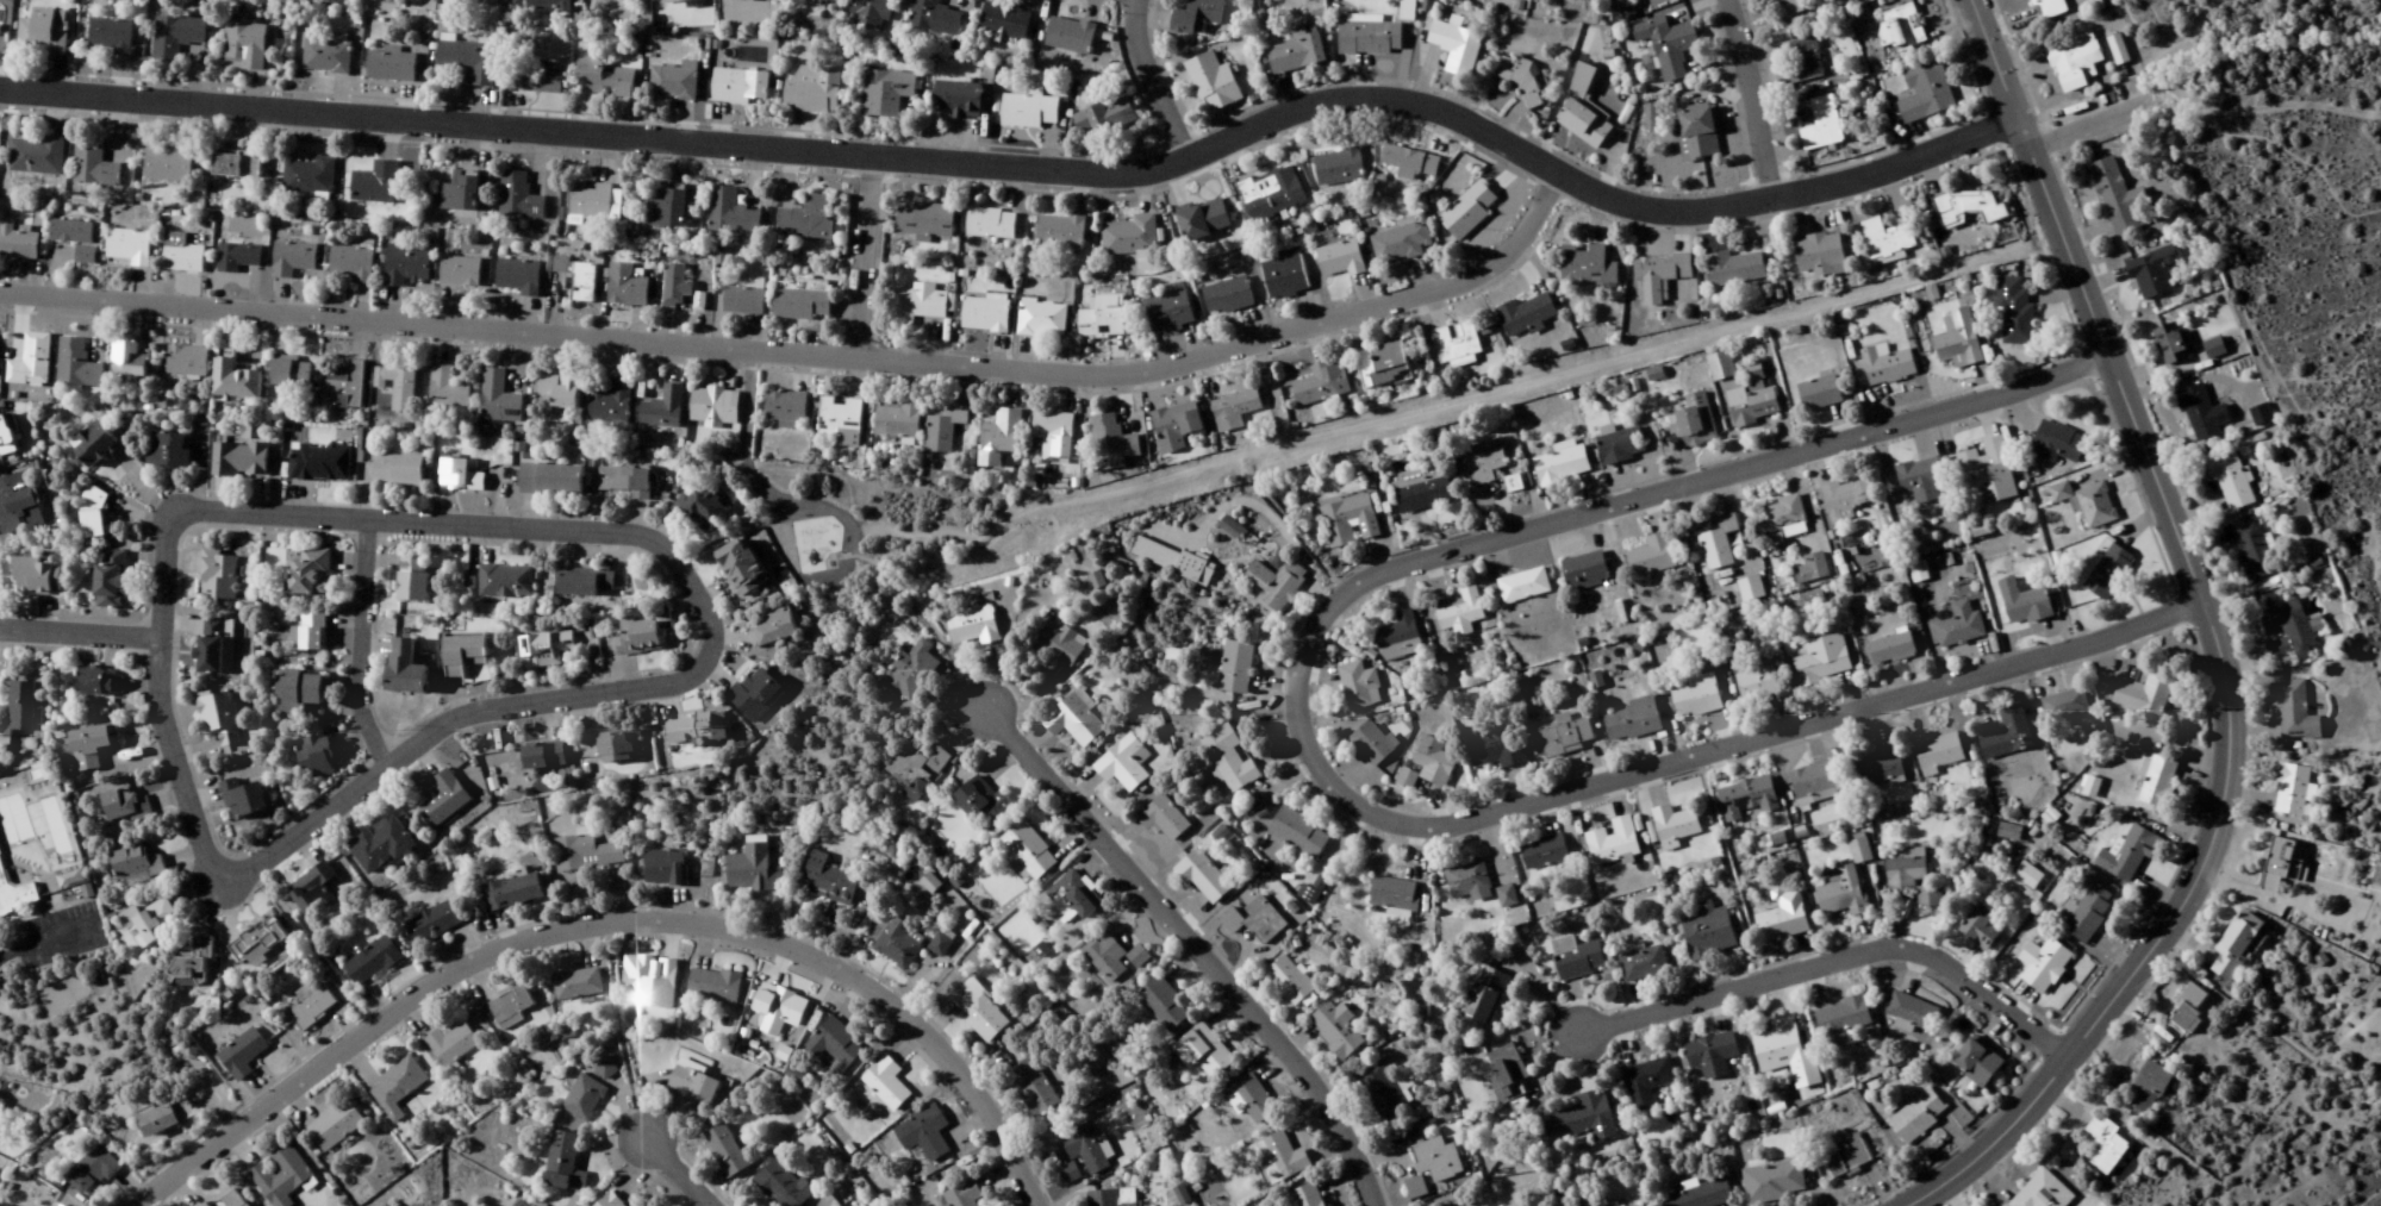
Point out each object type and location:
building: (677, 0)
building: (1632, 0)
building: (615, 1)
road: (1128, 1)
building: (547, 5)
building: (1789, 8)
building: (2049, 8)
building: (869, 14)
building: (1197, 17)
building: (934, 18)
building: (1004, 23)
building: (1900, 29)
building: (43, 32)
building: (112, 36)
building: (176, 37)
building: (1070, 37)
building: (1370, 39)
building: (245, 45)
building: (1668, 46)
building: (1457, 48)
building: (1297, 52)
building: (326, 57)
road: (1992, 60)
building: (468, 61)
building: (1802, 61)
building: (2075, 62)
building: (391, 65)
building: (603, 77)
building: (1520, 77)
road: (1151, 79)
building: (534, 81)
building: (675, 82)
building: (1213, 82)
building: (740, 87)
building: (814, 90)
building: (886, 93)
building: (1926, 93)
road: (1747, 96)
building: (956, 100)
road: (2264, 111)
building: (1029, 112)
building: (1584, 113)
road: (2087, 115)
building: (1103, 118)
building: (1822, 126)
building: (1700, 136)
building: (37, 156)
building: (1410, 162)
building: (93, 164)
building: (168, 164)
road: (1030, 164)
building: (236, 165)
building: (1338, 168)
building: (310, 176)
building: (375, 185)
building: (459, 192)
building: (1271, 194)
building: (519, 196)
building: (2118, 198)
building: (594, 202)
building: (1970, 207)
building: (666, 211)
building: (1469, 211)
building: (731, 214)
building: (806, 220)
building: (1204, 220)
building: (925, 221)
building: (991, 224)
building: (1061, 233)
building: (1130, 237)
building: (76, 238)
building: (1886, 238)
building: (17, 243)
building: (1400, 245)
building: (127, 248)
road: (861, 254)
building: (181, 255)
building: (1820, 255)
building: (238, 256)
building: (293, 260)
building: (1341, 260)
building: (351, 264)
building: (407, 267)
building: (1587, 267)
building: (1735, 269)
building: (460, 273)
building: (2154, 273)
building: (1285, 276)
building: (1660, 276)
building: (518, 277)
building: (579, 280)
building: (628, 286)
building: (675, 287)
building: (1226, 298)
building: (803, 301)
building: (743, 302)
building: (920, 304)
building: (1168, 313)
building: (2015, 313)
building: (985, 315)
building: (1527, 315)
building: (1042, 319)
building: (1103, 319)
building: (1958, 340)
building: (1457, 344)
building: (2171, 344)
building: (2214, 349)
road: (808, 350)
building: (129, 361)
building: (187, 362)
building: (31, 363)
building: (1887, 365)
building: (77, 367)
building: (1383, 367)
building: (1721, 367)
building: (292, 374)
building: (235, 381)
building: (344, 387)
building: (397, 388)
building: (1316, 388)
building: (448, 390)
building: (557, 393)
building: (1820, 394)
building: (498, 400)
building: (611, 405)
building: (1754, 406)
building: (715, 408)
building: (785, 410)
building: (663, 411)
building: (1234, 412)
building: (2204, 414)
building: (2262, 417)
road: (1366, 418)
building: (841, 421)
building: (898, 423)
building: (1694, 424)
building: (1176, 427)
building: (943, 431)
road: (740, 433)
building: (7, 436)
building: (1054, 436)
building: (1001, 439)
building: (1112, 444)
building: (2058, 444)
building: (93, 445)
building: (1621, 445)
building: (167, 451)
building: (241, 461)
building: (1484, 462)
building: (320, 463)
building: (1562, 464)
building: (398, 471)
building: (1988, 471)
building: (460, 477)
building: (1920, 480)
building: (550, 481)
building: (2231, 481)
building: (624, 482)
building: (1422, 489)
building: (2062, 493)
road: (1653, 498)
building: (1849, 499)
building: (15, 502)
building: (2096, 506)
building: (699, 511)
building: (94, 514)
building: (1785, 518)
building: (1350, 520)
road: (1283, 527)
building: (1232, 530)
building: (1719, 544)
building: (2254, 551)
building: (1652, 557)
building: (1171, 561)
building: (740, 568)
building: (1812, 569)
building: (1585, 573)
building: (1919, 573)
building: (2108, 573)
building: (310, 574)
building: (1087, 575)
building: (219, 576)
building: (36, 577)
building: (413, 580)
building: (111, 582)
building: (506, 582)
building: (607, 582)
building: (578, 585)
road: (898, 585)
building: (1276, 586)
building: (1523, 587)
building: (1751, 589)
road: (2196, 593)
building: (2024, 605)
building: (1463, 614)
building: (964, 621)
building: (774, 627)
building: (2286, 629)
building: (1959, 630)
building: (308, 635)
road: (81, 636)
building: (1049, 636)
building: (638, 637)
building: (1398, 637)
building: (214, 646)
road: (361, 646)
building: (1893, 648)
building: (546, 650)
building: (463, 656)
building: (1824, 661)
building: (898, 668)
building: (1235, 668)
building: (405, 669)
road: (678, 677)
building: (101, 683)
building: (1758, 685)
building: (1360, 687)
building: (298, 693)
building: (755, 695)
building: (2144, 698)
building: (1696, 700)
building: (2065, 706)
building: (20, 710)
building: (1067, 712)
building: (2295, 712)
building: (220, 719)
building: (1633, 720)
building: (697, 731)
building: (2007, 737)
building: (1566, 738)
building: (1373, 744)
building: (619, 746)
building: (91, 748)
building: (1494, 749)
road: (1735, 750)
building: (1938, 752)
building: (1220, 754)
building: (316, 756)
building: (543, 756)
building: (1116, 758)
building: (908, 760)
building: (1428, 766)
building: (1882, 767)
building: (2156, 782)
building: (1813, 785)
building: (2092, 788)
building: (2292, 791)
building: (973, 798)
building: (243, 799)
building: (443, 800)
building: (1747, 801)
building: (124, 807)
building: (1254, 808)
building: (1155, 812)
building: (1675, 826)
building: (1291, 827)
building: (2009, 833)
building: (1613, 842)
building: (380, 845)
building: (1021, 846)
building: (1544, 852)
building: (585, 854)
building: (2128, 856)
building: (2282, 860)
building: (135, 864)
building: (1195, 867)
building: (665, 869)
building: (753, 870)
building: (2027, 876)
building: (2377, 877)
building: (1913, 879)
building: (829, 882)
building: (1469, 882)
building: (1845, 883)
building: (1385, 889)
building: (312, 891)
building: (1067, 891)
building: (512, 893)
building: (2088, 913)
parking lot: (44, 916)
building: (1223, 917)
building: (1258, 917)
building: (1784, 919)
road: (1183, 920)
building: (148, 923)
building: (434, 924)
road: (611, 925)
building: (1981, 929)
building: (1709, 932)
road: (43, 933)
building: (263, 943)
building: (1034, 943)
building: (898, 945)
building: (941, 945)
building: (2237, 945)
parking lot: (38, 950)
building: (1130, 950)
road: (1195, 950)
building: (1098, 951)
building: (370, 962)
building: (1579, 962)
building: (1643, 964)
building: (193, 966)
road: (1831, 966)
building: (2044, 966)
building: (1283, 974)
building: (649, 980)
building: (578, 985)
building: (713, 986)
building: (1485, 995)
building: (1154, 996)
building: (779, 1006)
building: (510, 1007)
building: (312, 1008)
building: (978, 1010)
building: (2189, 1011)
building: (1913, 1012)
building: (1840, 1021)
building: (1332, 1025)
building: (1778, 1041)
building: (837, 1044)
building: (451, 1045)
building: (1196, 1045)
building: (242, 1055)
building: (1712, 1056)
building: (1977, 1064)
building: (604, 1069)
building: (1509, 1081)
building: (1378, 1082)
building: (692, 1083)
building: (886, 1083)
building: (1647, 1083)
building: (397, 1088)
building: (1033, 1088)
building: (2149, 1089)
building: (1246, 1093)
building: (584, 1099)
building: (1, 1105)
building: (1918, 1118)
building: (164, 1119)
building: (1583, 1119)
building: (335, 1126)
building: (924, 1135)
road: (1988, 1138)
road: (1951, 1141)
building: (2106, 1145)
building: (1085, 1150)
building: (725, 1151)
building: (1272, 1152)
building: (1429, 1155)
building: (1847, 1157)
building: (563, 1164)
building: (92, 1171)
road: (679, 1174)
building: (285, 1175)
building: (1070, 1175)
building: (1774, 1183)
building: (783, 1187)
building: (1298, 1193)
building: (1419, 1193)
building: (2043, 1193)
road: (2375, 1193)
building: (1701, 1195)
building: (1112, 1198)
building: (232, 1200)
building: (607, 1201)
building: (206, 1205)

